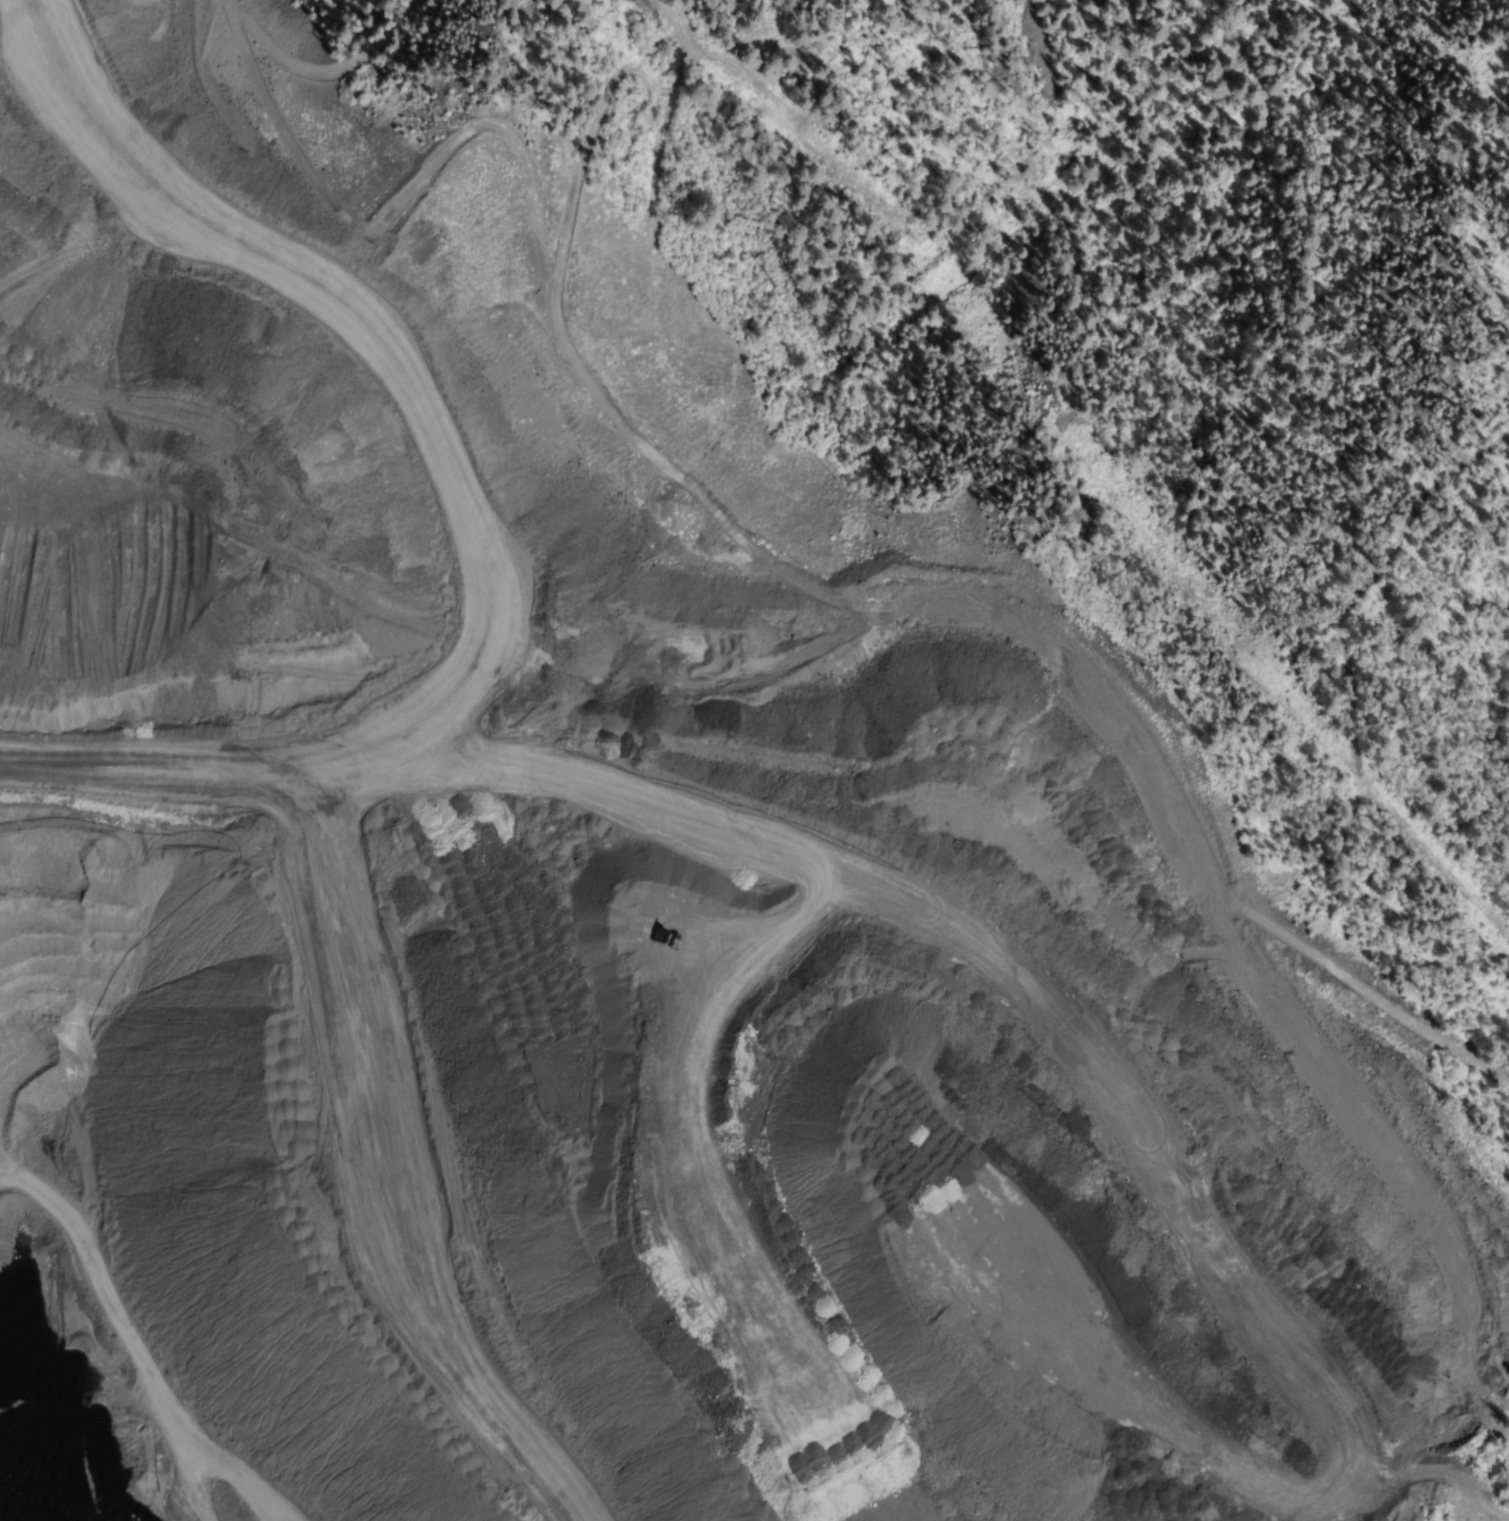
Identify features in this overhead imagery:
quarry: (661, 848)

